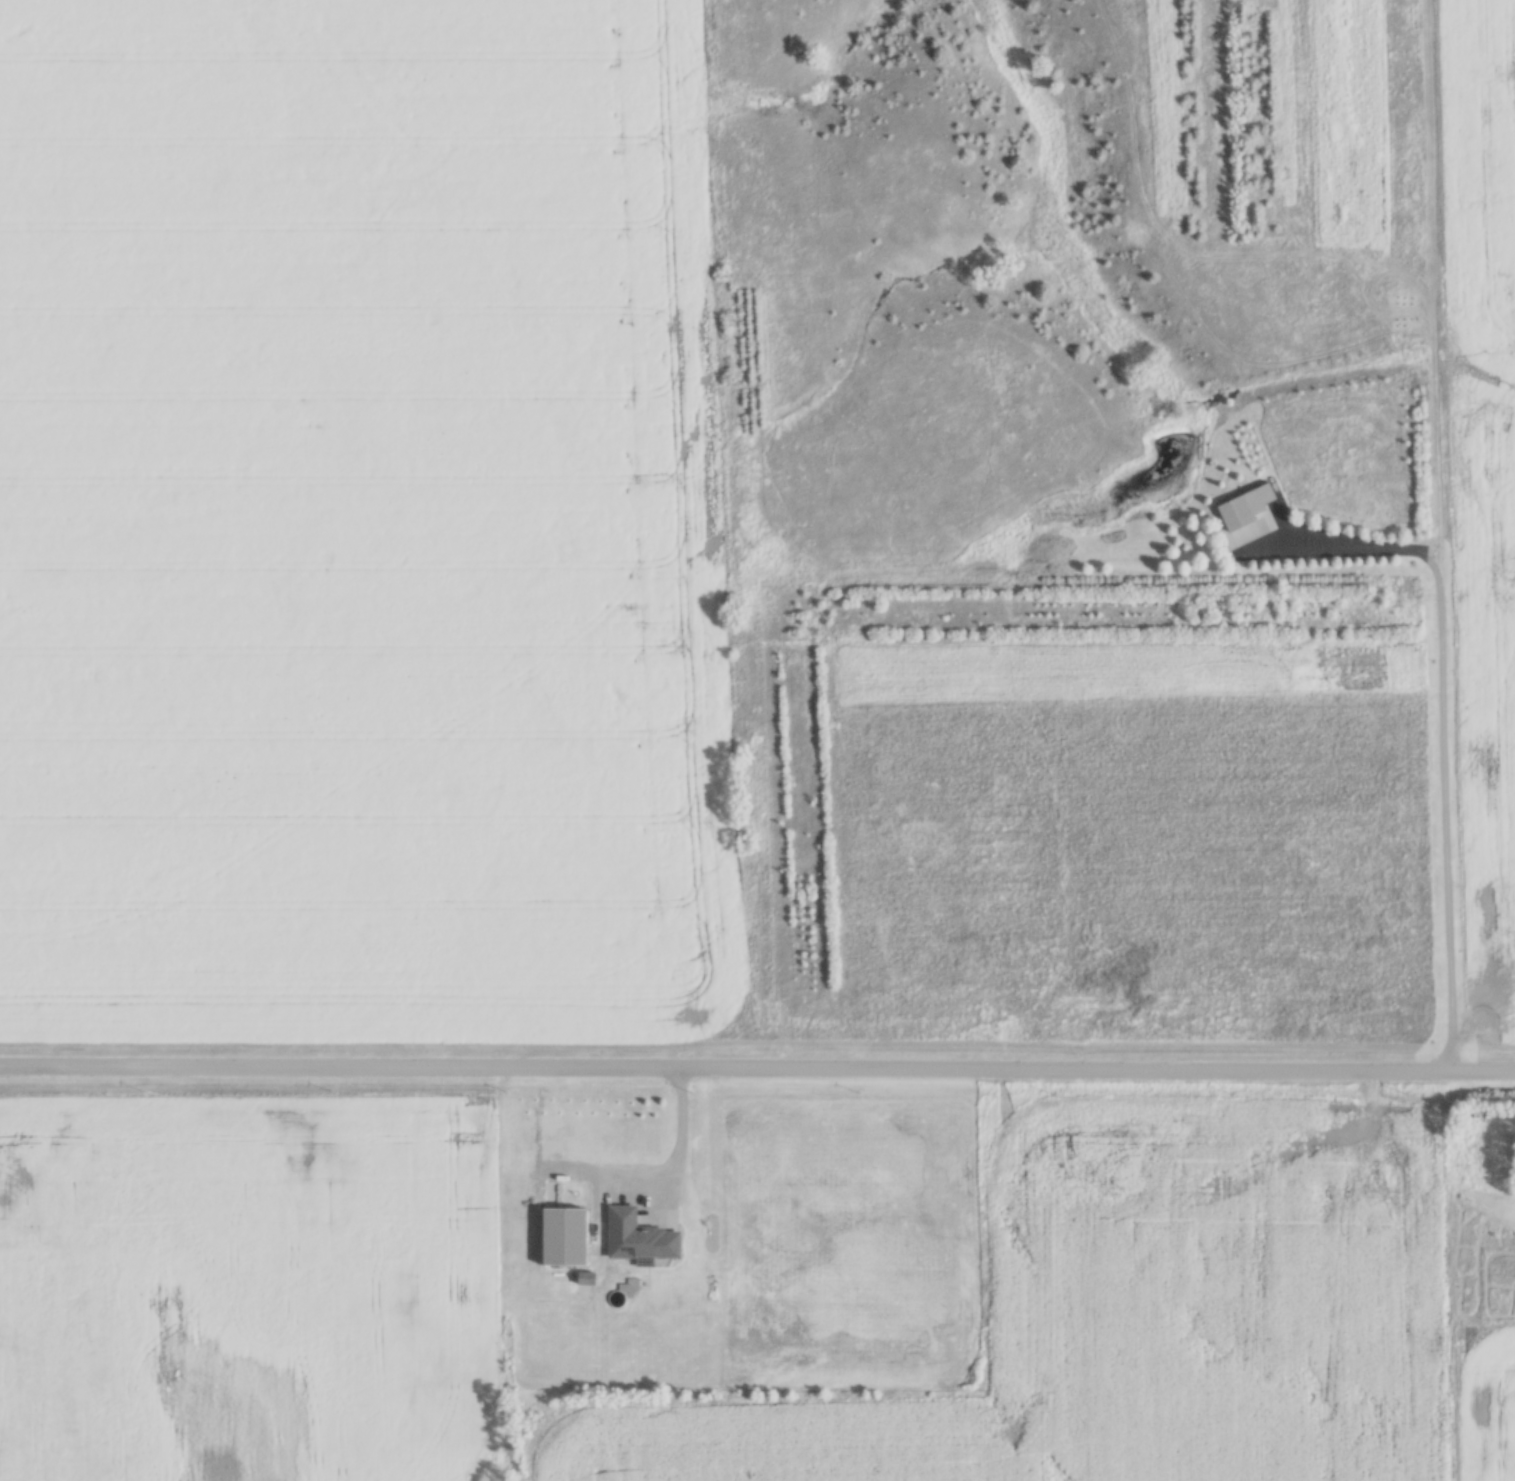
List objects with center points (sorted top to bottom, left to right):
building: (1237, 511)
crop: (361, 521)
building: (1234, 542)
road: (1436, 733)
road: (757, 1065)
road: (682, 1144)
building: (622, 1227)
building: (594, 1279)

